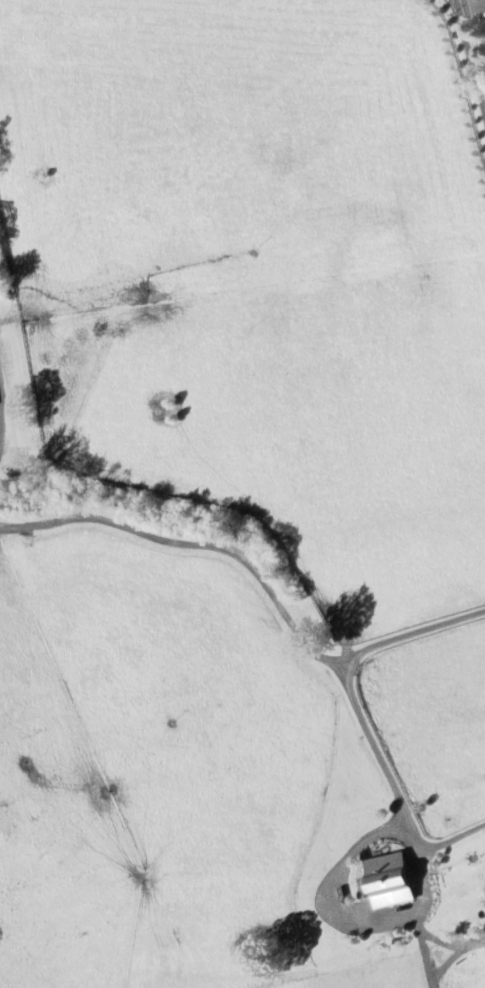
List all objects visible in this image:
road: (475, 3)
road: (474, 43)
road: (193, 542)
road: (409, 635)
road: (386, 790)
building: (394, 881)
road: (421, 917)

